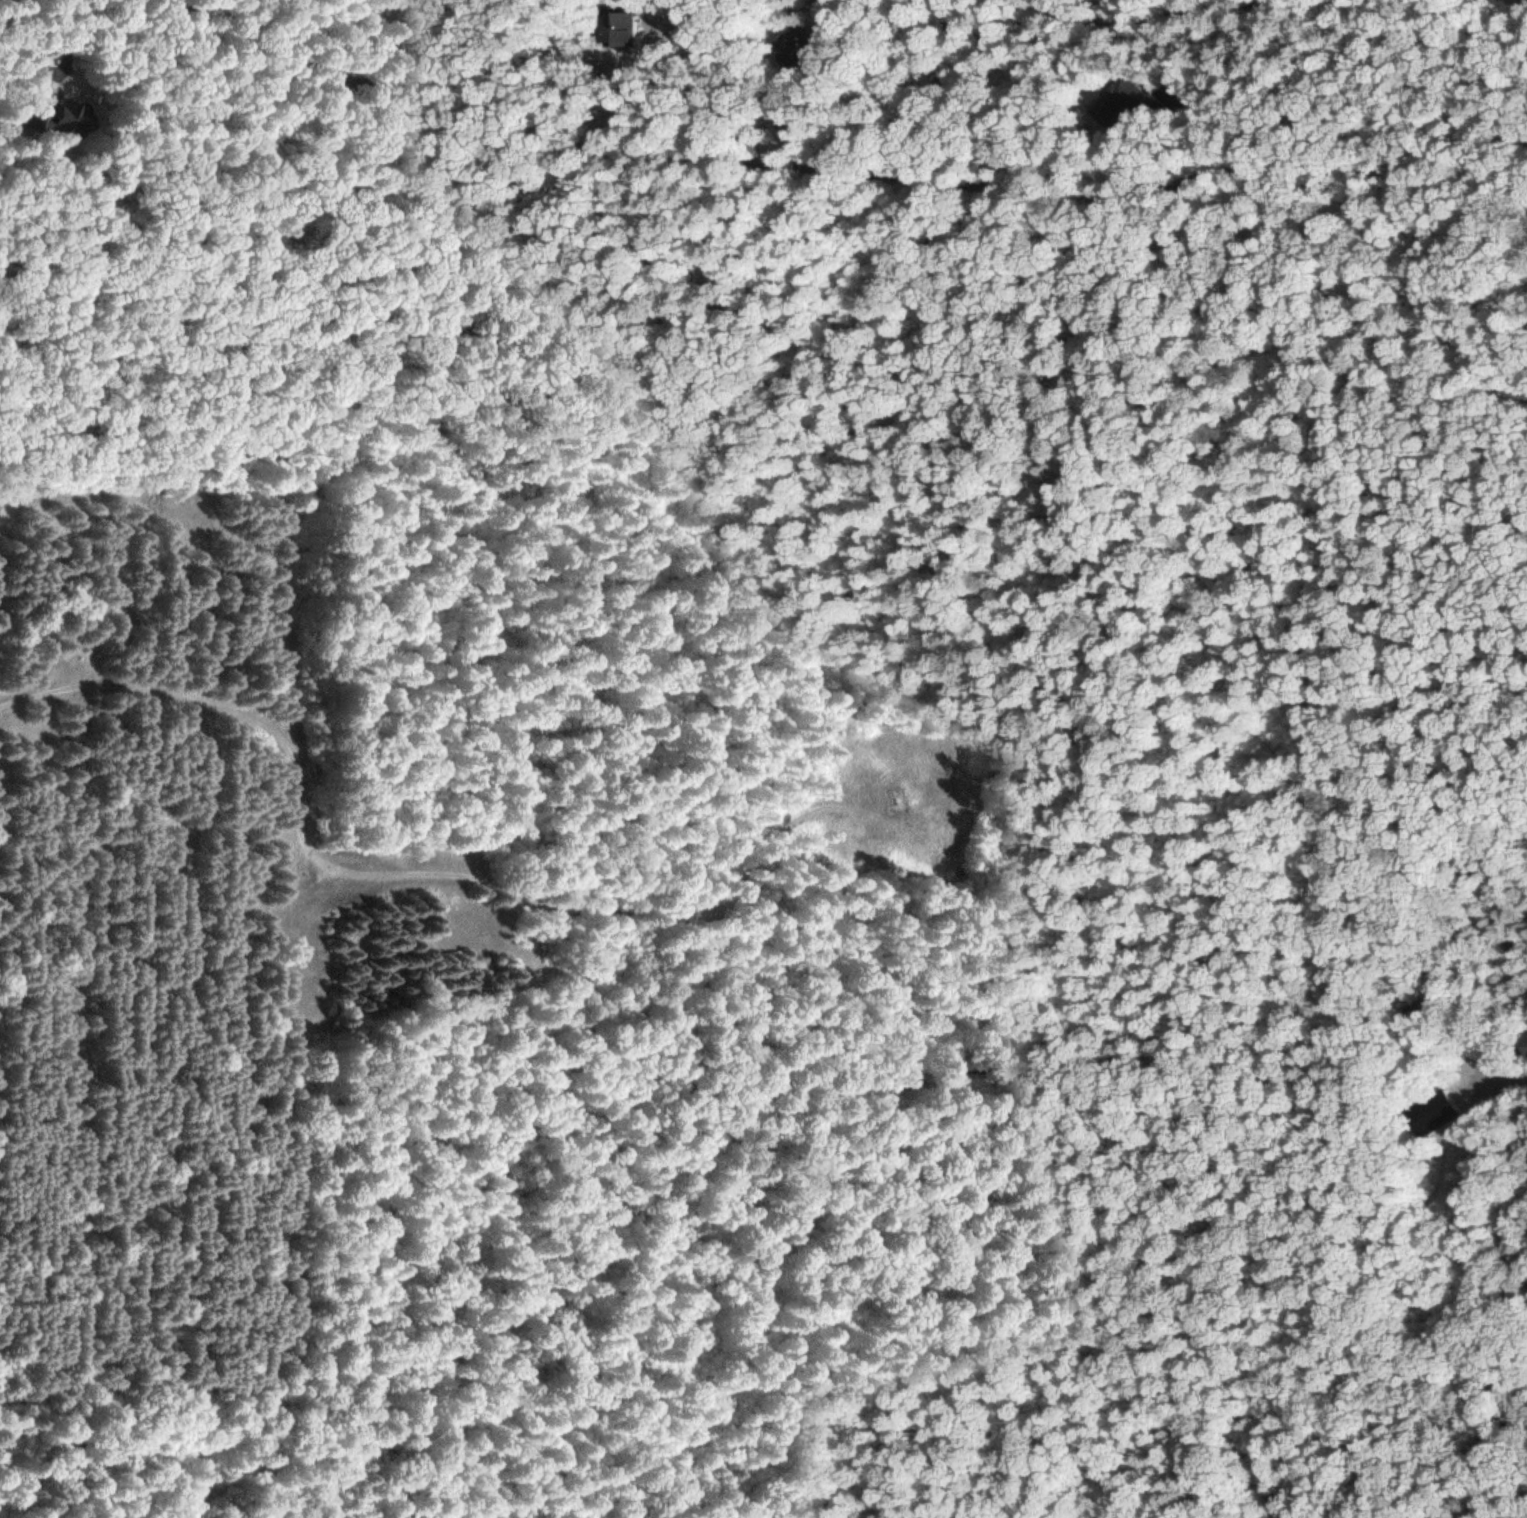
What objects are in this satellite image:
building: (417, 9)
park: (955, 9)
building: (649, 31)
building: (823, 54)
road: (968, 99)
building: (1138, 103)
building: (23, 122)
road: (853, 168)
road: (1506, 1080)
building: (1435, 1113)

